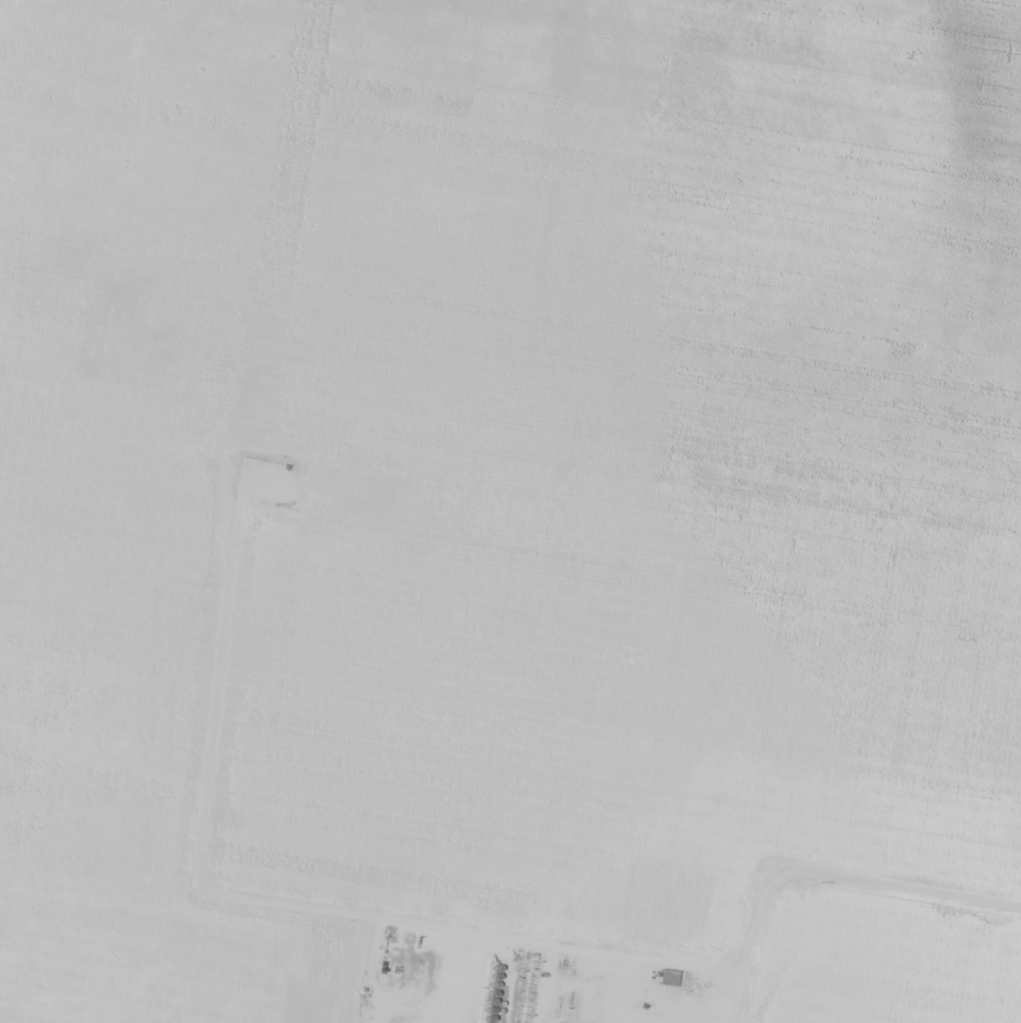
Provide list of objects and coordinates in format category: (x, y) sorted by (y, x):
building: (666, 978)

